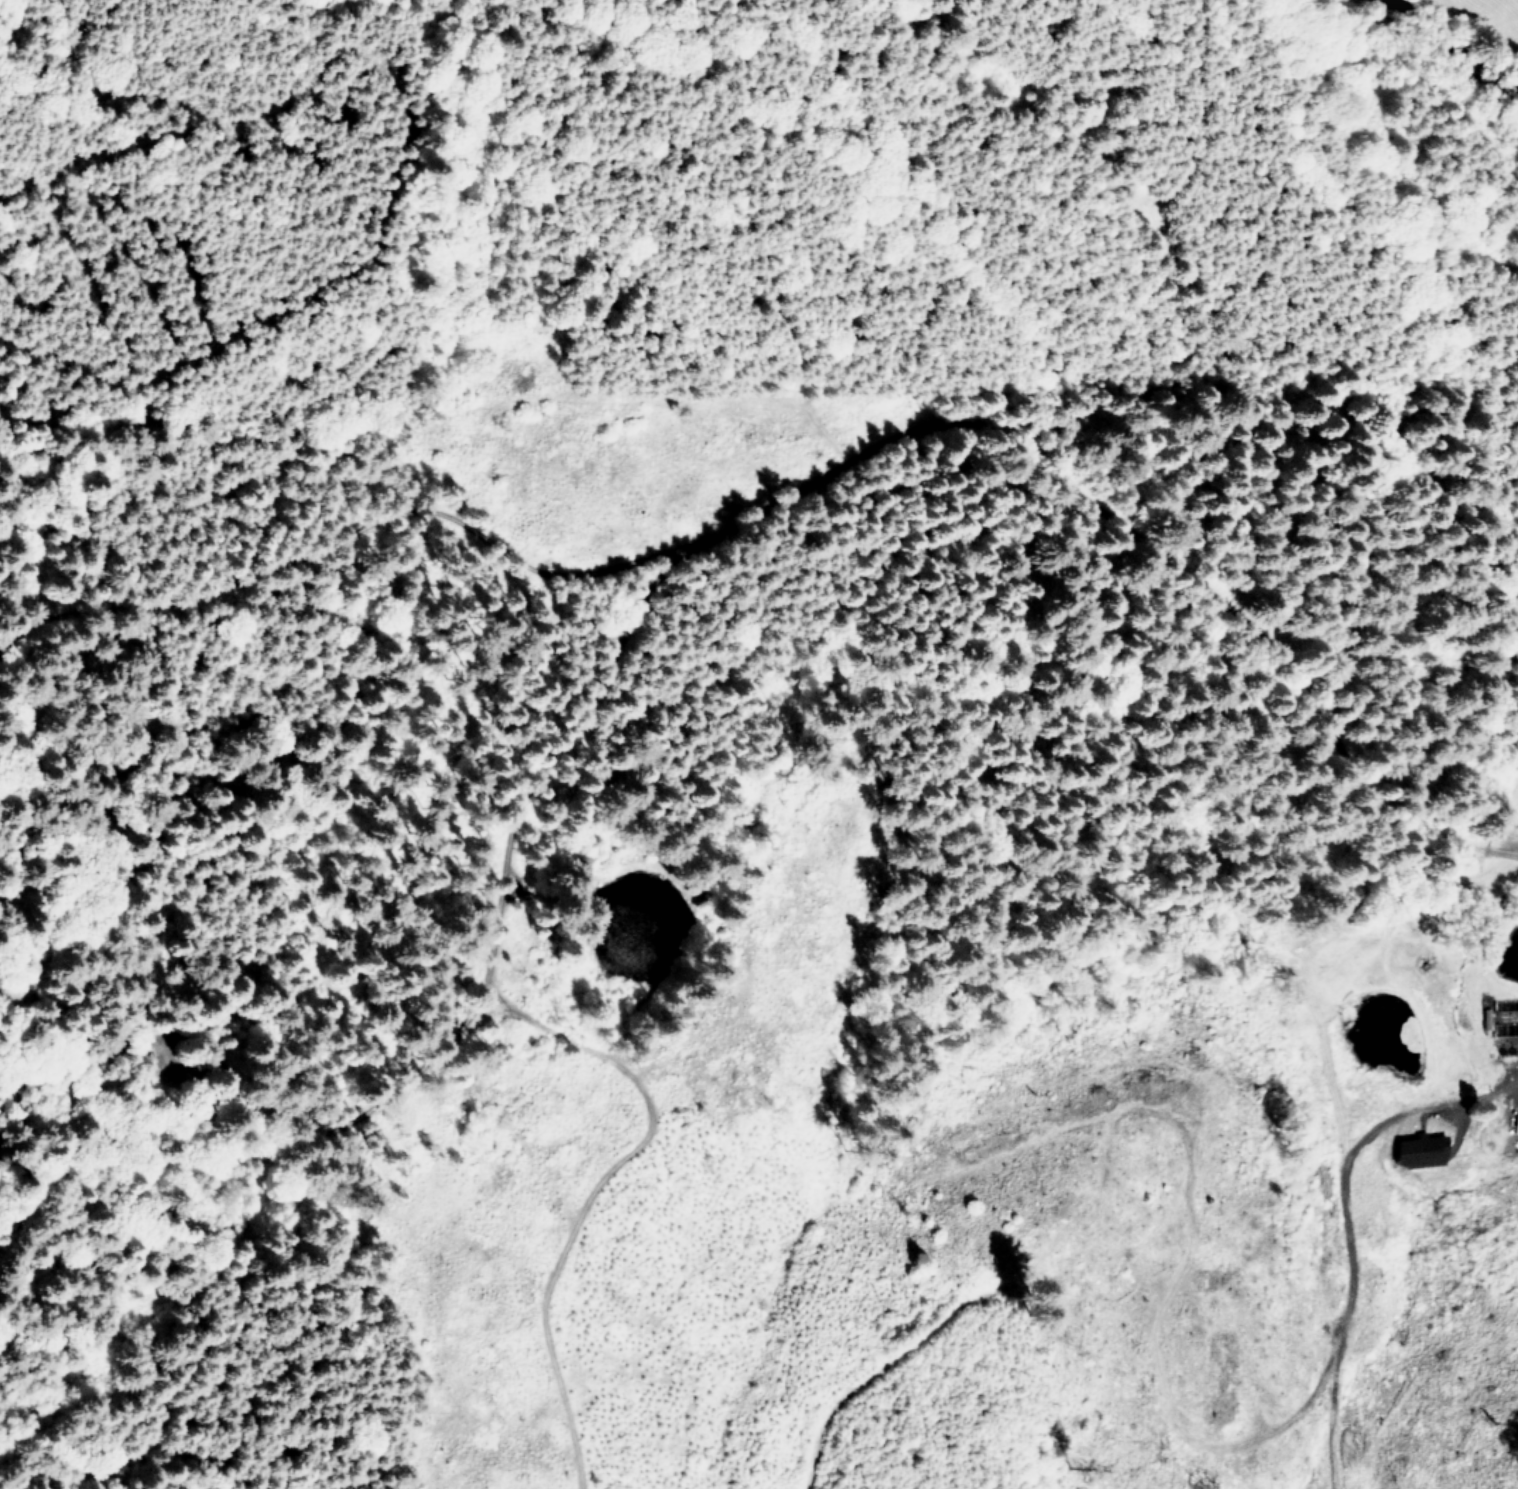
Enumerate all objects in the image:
road: (1497, 848)
road: (1469, 1095)
building: (1426, 1149)

